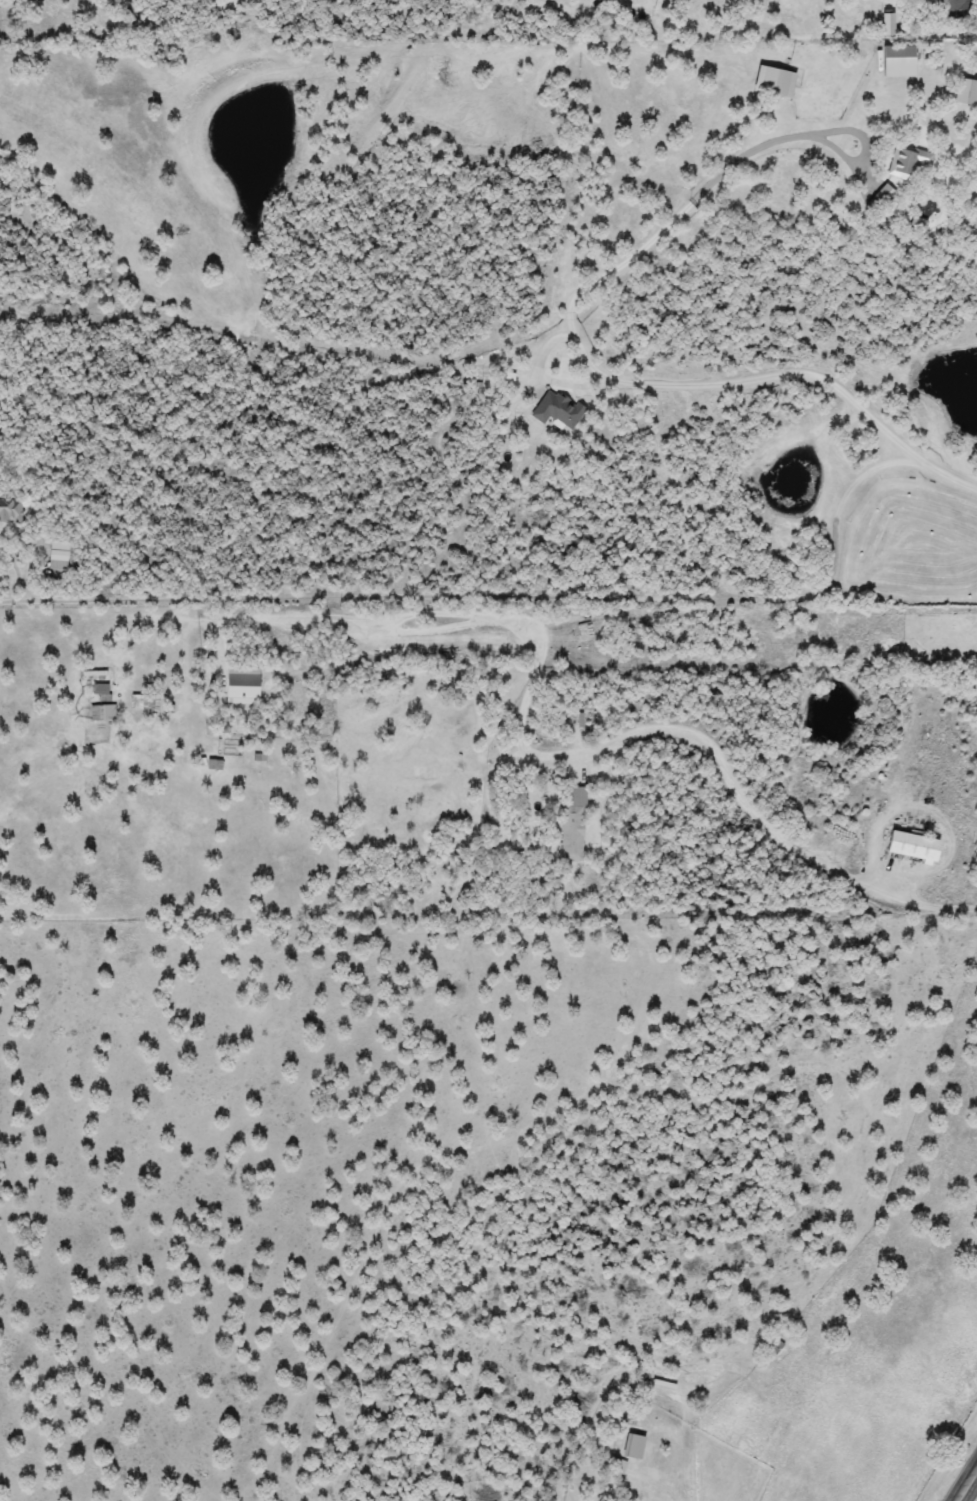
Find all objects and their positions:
building: (953, 9)
building: (887, 25)
building: (896, 58)
building: (965, 92)
building: (879, 200)
road: (619, 372)
building: (555, 410)
building: (10, 511)
building: (57, 552)
road: (511, 592)
building: (240, 687)
building: (98, 693)
road: (709, 745)
road: (595, 761)
building: (572, 824)
building: (909, 847)
building: (615, 1465)
road: (966, 1484)

